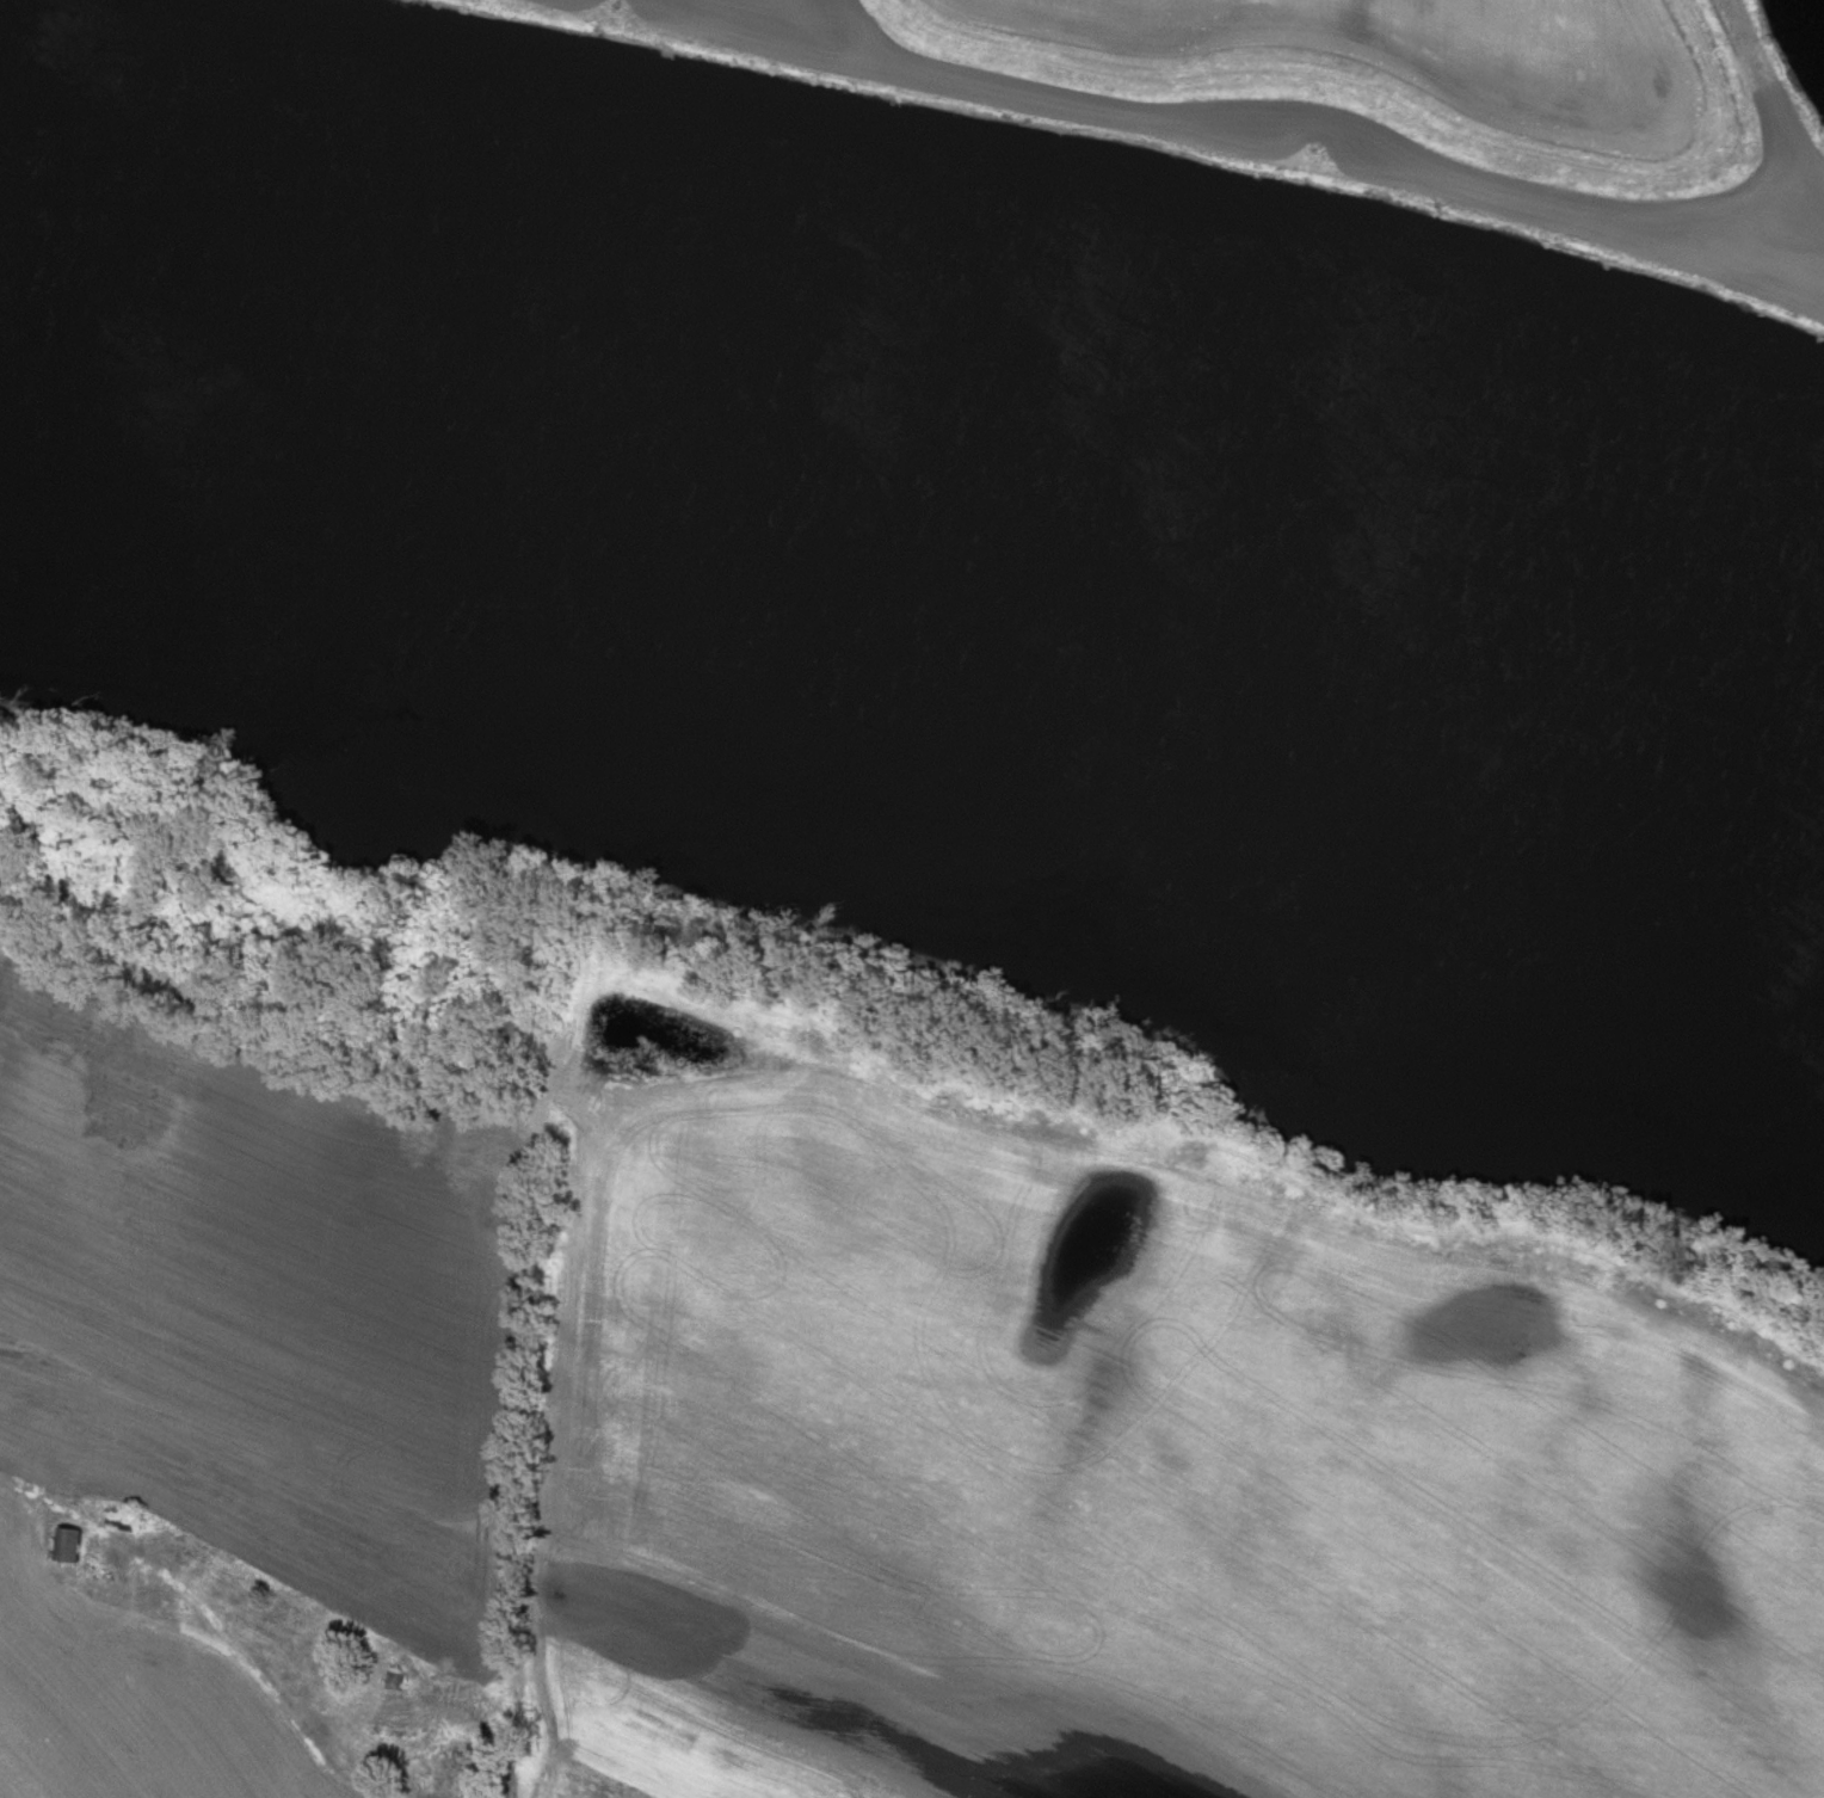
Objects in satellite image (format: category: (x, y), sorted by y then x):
river: (1820, 10)
river: (929, 529)
crop: (242, 1366)
crop: (1142, 1472)
building: (66, 1544)
road: (254, 1675)
building: (392, 1680)
road: (513, 1763)

